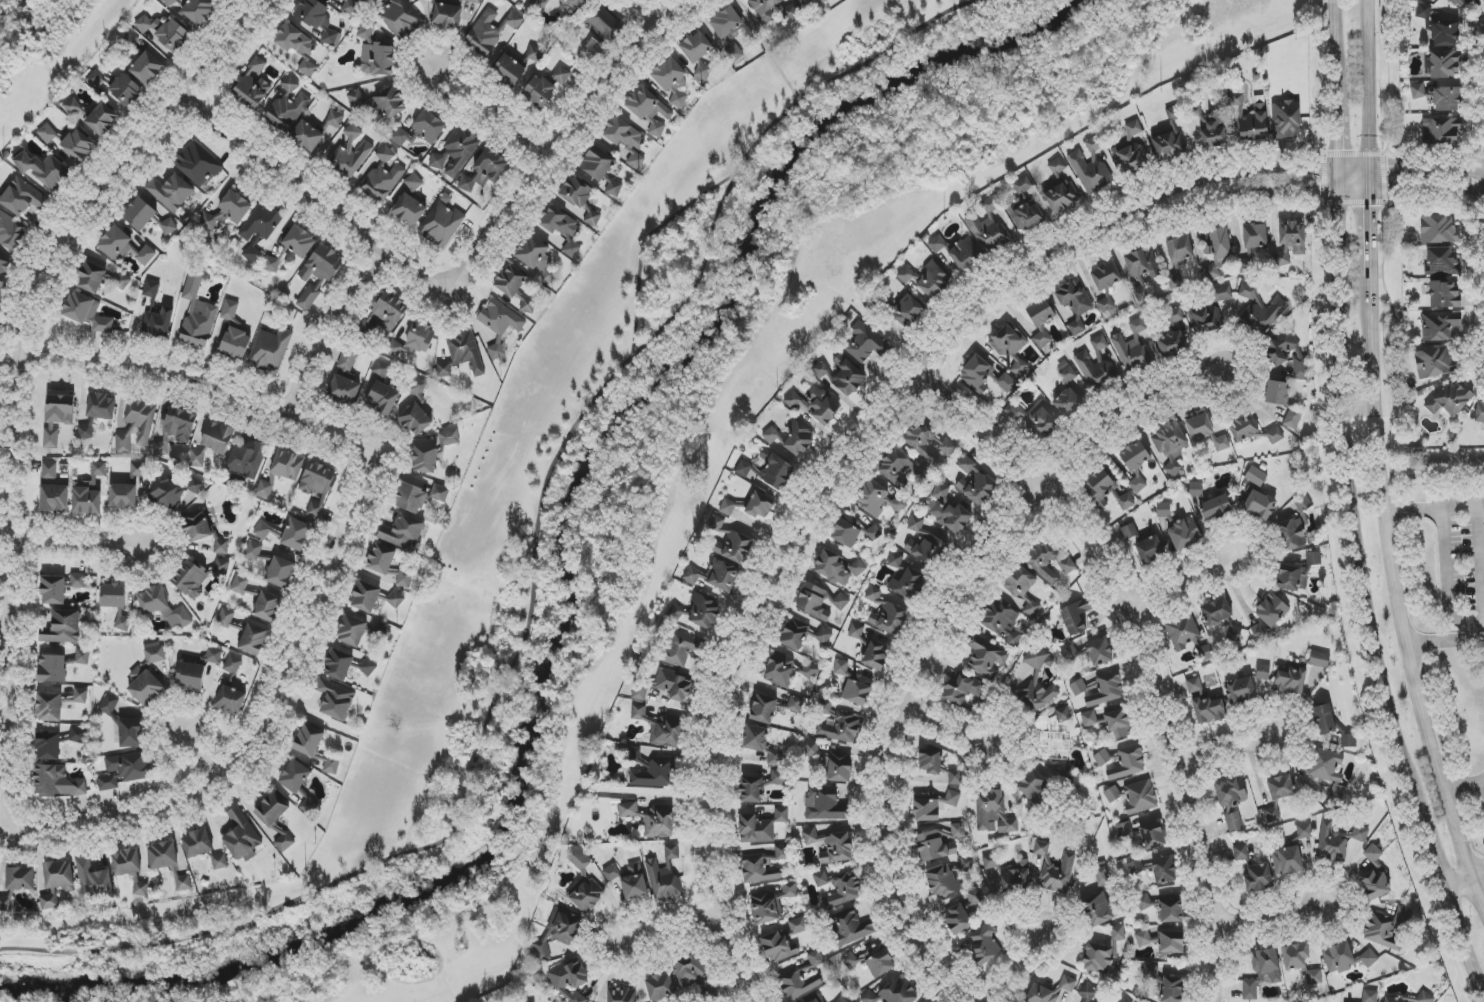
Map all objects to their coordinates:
building: (334, 0)
building: (473, 1)
building: (170, 2)
building: (1460, 2)
building: (538, 5)
building: (570, 6)
road: (645, 7)
building: (765, 9)
building: (198, 10)
road: (14, 13)
building: (446, 15)
building: (402, 18)
building: (318, 20)
building: (606, 24)
building: (490, 31)
building: (729, 31)
building: (165, 32)
building: (366, 32)
building: (1445, 34)
road: (1336, 40)
building: (297, 47)
road: (765, 51)
park: (47, 52)
building: (697, 53)
building: (534, 54)
building: (378, 59)
building: (1444, 64)
building: (147, 68)
building: (509, 69)
building: (561, 75)
building: (95, 79)
building: (671, 80)
road: (1369, 84)
building: (126, 90)
building: (1418, 91)
building: (539, 92)
building: (1447, 99)
building: (357, 100)
building: (391, 102)
building: (287, 107)
building: (75, 109)
building: (1194, 109)
road: (490, 111)
building: (649, 111)
building: (1174, 115)
building: (1250, 117)
building: (102, 119)
building: (335, 120)
building: (1287, 120)
building: (421, 130)
building: (1215, 130)
building: (1441, 131)
building: (47, 134)
road: (1337, 135)
building: (307, 136)
building: (627, 140)
road: (552, 143)
building: (78, 146)
building: (1169, 146)
traffic signals: (1338, 149)
building: (1130, 150)
building: (352, 152)
building: (455, 153)
building: (597, 164)
building: (197, 165)
building: (1089, 166)
traffic signals: (1388, 168)
building: (44, 169)
road: (1320, 169)
building: (485, 171)
building: (383, 176)
building: (414, 182)
building: (614, 188)
building: (1059, 188)
traffic signals: (1317, 191)
road: (1321, 191)
building: (171, 192)
road: (314, 195)
building: (21, 198)
building: (581, 200)
building: (991, 205)
building: (1025, 207)
traffic signals: (1371, 207)
building: (409, 210)
building: (228, 211)
building: (140, 214)
building: (261, 222)
building: (441, 224)
building: (168, 227)
road: (1371, 228)
building: (562, 229)
building: (1439, 230)
building: (11, 231)
building: (987, 233)
building: (1255, 235)
building: (299, 241)
building: (1290, 241)
building: (115, 243)
road: (642, 245)
building: (1218, 246)
building: (1180, 248)
building: (252, 252)
building: (959, 252)
building: (534, 254)
building: (146, 255)
building: (1246, 261)
building: (1442, 262)
building: (271, 264)
building: (1142, 264)
building: (3, 272)
building: (1211, 272)
building: (318, 275)
building: (91, 277)
building: (1175, 278)
building: (927, 279)
building: (1106, 283)
building: (514, 287)
building: (151, 289)
building: (0, 294)
building: (1445, 295)
building: (1074, 304)
building: (230, 310)
building: (389, 311)
building: (907, 311)
building: (1209, 311)
building: (1259, 311)
building: (86, 312)
building: (197, 312)
building: (1040, 312)
building: (1175, 315)
building: (158, 323)
building: (500, 324)
building: (1137, 325)
road: (329, 326)
building: (1439, 326)
building: (1041, 339)
building: (414, 341)
building: (1008, 341)
building: (1172, 343)
building: (235, 344)
building: (865, 344)
building: (270, 349)
building: (1286, 352)
building: (1132, 353)
building: (462, 354)
building: (348, 359)
building: (1434, 363)
building: (1099, 365)
building: (381, 369)
building: (1020, 369)
building: (821, 370)
building: (976, 372)
building: (1066, 372)
road: (18, 373)
building: (848, 378)
building: (1007, 384)
building: (418, 388)
building: (344, 390)
building: (1277, 393)
building: (383, 398)
building: (1450, 399)
building: (1071, 401)
road: (1380, 401)
building: (814, 404)
building: (101, 407)
building: (59, 408)
road: (276, 408)
building: (1014, 411)
building: (1479, 412)
building: (1292, 419)
building: (415, 420)
building: (1041, 420)
building: (136, 426)
building: (1243, 428)
building: (86, 430)
building: (176, 430)
building: (1207, 432)
building: (771, 435)
building: (1274, 435)
building: (51, 437)
building: (217, 437)
building: (798, 438)
building: (926, 442)
park: (0, 446)
building: (1171, 446)
building: (433, 451)
building: (1134, 456)
building: (197, 458)
building: (248, 459)
building: (287, 465)
building: (49, 470)
building: (138, 470)
building: (776, 470)
building: (1256, 476)
park: (628, 480)
building: (975, 483)
building: (1137, 484)
building: (317, 487)
building: (264, 489)
building: (1196, 489)
building: (173, 491)
building: (1107, 491)
building: (89, 493)
building: (439, 493)
building: (123, 496)
building: (54, 498)
building: (412, 498)
building: (877, 499)
building: (1303, 504)
building: (760, 505)
building: (1260, 505)
building: (728, 507)
building: (1215, 507)
building: (1163, 510)
road: (1437, 510)
building: (950, 511)
road: (788, 521)
building: (196, 526)
building: (262, 530)
building: (846, 531)
building: (404, 532)
building: (873, 533)
building: (1292, 533)
building: (296, 534)
building: (1130, 534)
building: (1184, 534)
road: (76, 545)
building: (221, 547)
building: (734, 547)
building: (926, 547)
building: (1151, 549)
building: (253, 550)
building: (381, 558)
building: (895, 560)
building: (1051, 561)
road: (533, 562)
building: (222, 567)
building: (838, 568)
building: (280, 572)
building: (1297, 574)
building: (715, 576)
building: (190, 579)
building: (404, 579)
road: (1446, 580)
building: (77, 581)
road: (1185, 583)
building: (239, 584)
building: (908, 584)
building: (1019, 586)
building: (53, 590)
building: (113, 596)
building: (366, 596)
building: (875, 596)
road: (1365, 596)
building: (395, 599)
building: (812, 601)
building: (841, 601)
building: (163, 607)
building: (267, 607)
building: (1032, 609)
building: (1271, 610)
building: (1216, 612)
building: (702, 613)
building: (1075, 616)
building: (226, 618)
building: (889, 619)
building: (1002, 623)
building: (62, 628)
road: (925, 628)
building: (352, 631)
building: (856, 631)
building: (1259, 631)
building: (1183, 632)
building: (794, 634)
building: (1234, 634)
building: (824, 636)
building: (253, 640)
road: (1450, 641)
road: (1145, 642)
building: (683, 648)
building: (1072, 652)
building: (1100, 652)
road: (1416, 652)
building: (1205, 653)
building: (214, 656)
building: (876, 656)
building: (81, 657)
building: (987, 657)
building: (1319, 659)
building: (338, 665)
building: (841, 667)
building: (52, 668)
building: (787, 672)
building: (1263, 672)
building: (190, 676)
building: (1290, 680)
building: (1038, 683)
building: (673, 685)
building: (1194, 685)
building: (232, 687)
building: (963, 688)
building: (1078, 688)
building: (857, 690)
building: (1240, 690)
building: (640, 691)
building: (1105, 691)
building: (1180, 691)
building: (80, 696)
building: (335, 700)
building: (795, 704)
building: (109, 705)
building: (49, 707)
building: (764, 709)
building: (1209, 710)
building: (1063, 715)
building: (1089, 719)
building: (1324, 719)
building: (1118, 724)
building: (660, 728)
building: (839, 728)
building: (131, 733)
building: (78, 736)
road: (945, 736)
building: (1349, 740)
building: (761, 744)
road: (1226, 744)
building: (48, 746)
building: (315, 748)
road: (203, 755)
building: (1102, 758)
building: (931, 761)
building: (1128, 763)
building: (837, 767)
building: (126, 769)
building: (1328, 772)
building: (654, 773)
building: (295, 776)
building: (778, 777)
building: (955, 777)
building: (57, 782)
road: (214, 782)
building: (1033, 787)
building: (1281, 787)
road: (1467, 787)
building: (751, 790)
building: (1231, 791)
building: (1134, 796)
building: (825, 804)
building: (309, 805)
building: (933, 805)
building: (628, 810)
building: (993, 813)
building: (781, 815)
building: (1272, 816)
building: (276, 819)
building: (660, 822)
building: (1234, 822)
building: (1124, 829)
building: (755, 830)
building: (1304, 831)
building: (1153, 836)
building: (241, 837)
building: (1337, 841)
building: (197, 843)
building: (940, 843)
building: (831, 846)
road: (1465, 849)
building: (671, 852)
building: (782, 852)
building: (162, 855)
building: (1287, 861)
building: (126, 862)
building: (220, 862)
building: (1138, 867)
building: (759, 869)
building: (1055, 869)
building: (1164, 871)
building: (59, 875)
building: (1102, 877)
building: (948, 878)
building: (1015, 878)
building: (1258, 878)
road: (1464, 878)
building: (20, 879)
building: (629, 880)
building: (663, 880)
building: (93, 882)
building: (183, 883)
building: (584, 885)
building: (1375, 885)
building: (840, 887)
building: (141, 889)
building: (974, 896)
building: (5, 902)
building: (49, 902)
building: (772, 904)
building: (1098, 910)
building: (1171, 911)
road: (1270, 915)
building: (957, 920)
building: (798, 925)
building: (851, 928)
building: (1386, 928)
building: (558, 931)
building: (1118, 933)
building: (1142, 937)
road: (649, 944)
building: (983, 944)
building: (1171, 945)
building: (779, 948)
building: (1338, 958)
building: (1369, 958)
building: (816, 959)
building: (872, 960)
building: (1300, 962)
road: (1017, 963)
building: (687, 971)
building: (1151, 972)
building: (1262, 972)
building: (571, 980)
building: (797, 984)
building: (659, 987)
building: (1172, 989)
building: (1050, 991)
building: (892, 993)
building: (1089, 994)
building: (622, 995)
building: (1370, 996)
building: (1425, 997)
building: (1394, 999)
building: (814, 1000)
building: (842, 1000)
building: (1122, 1000)
building: (530, 1001)

